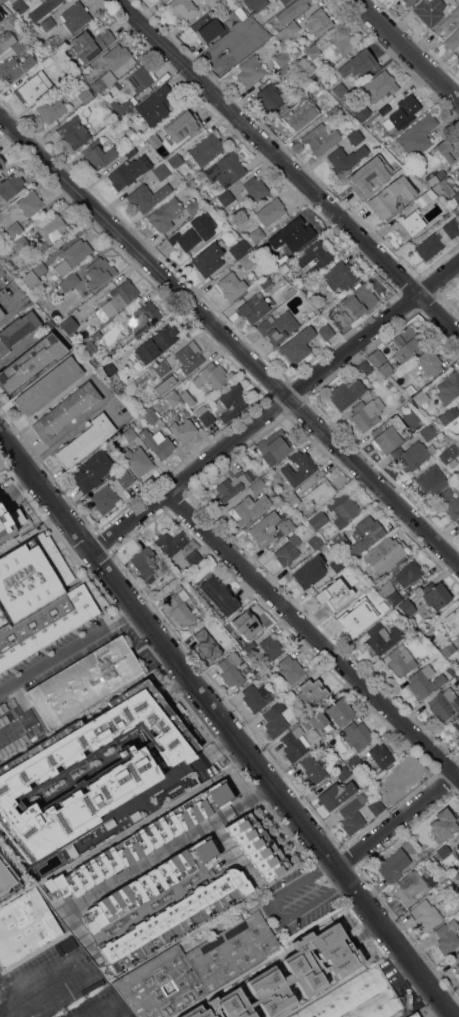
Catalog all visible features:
building: (284, 1)
building: (211, 2)
building: (408, 2)
building: (52, 3)
building: (256, 4)
building: (19, 6)
building: (183, 8)
building: (430, 10)
building: (290, 12)
building: (75, 16)
building: (235, 17)
building: (10, 21)
building: (319, 21)
building: (449, 22)
building: (48, 23)
building: (207, 27)
building: (288, 31)
building: (259, 37)
building: (7, 39)
building: (453, 40)
building: (25, 42)
building: (91, 44)
building: (332, 44)
building: (229, 45)
building: (249, 46)
road: (412, 47)
building: (296, 51)
building: (68, 53)
building: (117, 55)
building: (280, 56)
building: (458, 56)
building: (43, 62)
building: (360, 63)
building: (15, 67)
building: (287, 70)
building: (251, 71)
building: (139, 76)
building: (103, 81)
building: (380, 85)
building: (33, 87)
building: (314, 87)
building: (340, 89)
building: (86, 95)
building: (275, 96)
building: (156, 105)
building: (122, 106)
building: (52, 108)
building: (383, 109)
building: (404, 111)
building: (296, 114)
building: (364, 114)
building: (189, 121)
building: (74, 132)
building: (380, 135)
building: (418, 135)
building: (357, 136)
building: (321, 137)
building: (207, 148)
building: (449, 148)
building: (131, 152)
building: (169, 152)
building: (98, 154)
building: (345, 159)
building: (176, 160)
building: (1, 165)
building: (458, 165)
road: (288, 167)
building: (226, 169)
building: (129, 171)
building: (162, 171)
building: (437, 177)
building: (361, 182)
building: (10, 186)
building: (256, 188)
building: (447, 189)
building: (147, 196)
building: (391, 196)
building: (225, 197)
building: (427, 197)
building: (30, 203)
building: (194, 206)
building: (458, 206)
building: (209, 208)
building: (271, 210)
building: (166, 214)
building: (410, 225)
building: (452, 227)
building: (52, 228)
building: (15, 229)
building: (255, 233)
building: (298, 233)
building: (187, 237)
building: (430, 245)
building: (14, 247)
building: (237, 249)
building: (73, 255)
building: (314, 257)
building: (209, 259)
building: (246, 260)
building: (35, 273)
building: (99, 273)
building: (340, 275)
building: (69, 281)
building: (233, 285)
building: (295, 286)
building: (458, 291)
road: (439, 295)
building: (119, 298)
building: (360, 299)
building: (259, 300)
road: (14, 311)
building: (2, 312)
building: (140, 316)
building: (341, 318)
building: (69, 324)
building: (278, 326)
building: (18, 330)
building: (326, 331)
building: (97, 336)
road: (229, 340)
building: (156, 343)
building: (405, 343)
building: (298, 344)
building: (89, 347)
building: (189, 356)
building: (377, 357)
building: (31, 361)
building: (430, 361)
building: (162, 367)
building: (365, 367)
building: (387, 368)
building: (110, 372)
building: (211, 376)
building: (165, 384)
building: (49, 385)
building: (449, 387)
building: (346, 392)
building: (420, 396)
building: (187, 397)
building: (172, 398)
building: (232, 401)
road: (47, 404)
road: (277, 407)
building: (66, 410)
building: (367, 412)
building: (151, 415)
building: (205, 415)
building: (449, 415)
building: (183, 429)
building: (388, 432)
building: (429, 432)
building: (130, 434)
building: (85, 440)
building: (157, 442)
building: (275, 446)
building: (413, 455)
building: (450, 455)
building: (137, 460)
building: (299, 467)
building: (94, 470)
building: (126, 479)
building: (432, 479)
building: (234, 484)
building: (256, 485)
building: (320, 493)
building: (104, 498)
building: (293, 499)
building: (450, 502)
building: (344, 509)
building: (245, 510)
building: (318, 519)
building: (458, 522)
building: (287, 526)
building: (4, 527)
building: (265, 528)
road: (32, 530)
building: (366, 531)
building: (339, 540)
building: (315, 541)
building: (171, 542)
building: (288, 550)
building: (385, 554)
building: (194, 557)
building: (148, 564)
building: (338, 564)
building: (310, 570)
building: (31, 576)
building: (401, 580)
building: (336, 590)
building: (367, 591)
building: (219, 593)
building: (436, 594)
building: (181, 605)
building: (407, 607)
building: (359, 617)
building: (451, 617)
building: (45, 625)
building: (247, 626)
road: (314, 632)
building: (381, 637)
building: (208, 643)
building: (251, 646)
building: (271, 646)
road: (68, 647)
building: (448, 649)
building: (399, 660)
building: (232, 667)
building: (242, 667)
building: (291, 669)
building: (458, 677)
building: (425, 681)
building: (85, 682)
building: (312, 691)
building: (256, 696)
building: (444, 703)
road: (25, 710)
building: (340, 710)
building: (299, 715)
building: (275, 719)
building: (316, 719)
road: (226, 722)
building: (456, 722)
building: (357, 734)
building: (295, 743)
building: (320, 747)
building: (382, 755)
building: (356, 762)
building: (129, 769)
building: (313, 771)
building: (344, 772)
road: (173, 774)
building: (397, 781)
building: (336, 794)
building: (376, 808)
building: (353, 813)
road: (397, 816)
building: (443, 826)
building: (141, 840)
building: (257, 846)
building: (458, 846)
road: (170, 849)
road: (233, 850)
building: (444, 850)
building: (423, 855)
building: (458, 856)
building: (427, 861)
building: (394, 865)
building: (457, 875)
building: (440, 877)
building: (4, 879)
building: (151, 882)
building: (410, 887)
road: (271, 913)
building: (428, 914)
building: (175, 918)
building: (25, 926)
building: (448, 936)
building: (457, 955)
building: (457, 967)
building: (196, 968)
building: (288, 977)
road: (40, 983)
building: (358, 998)
road: (112, 1014)
building: (415, 1015)
building: (135, 1016)

